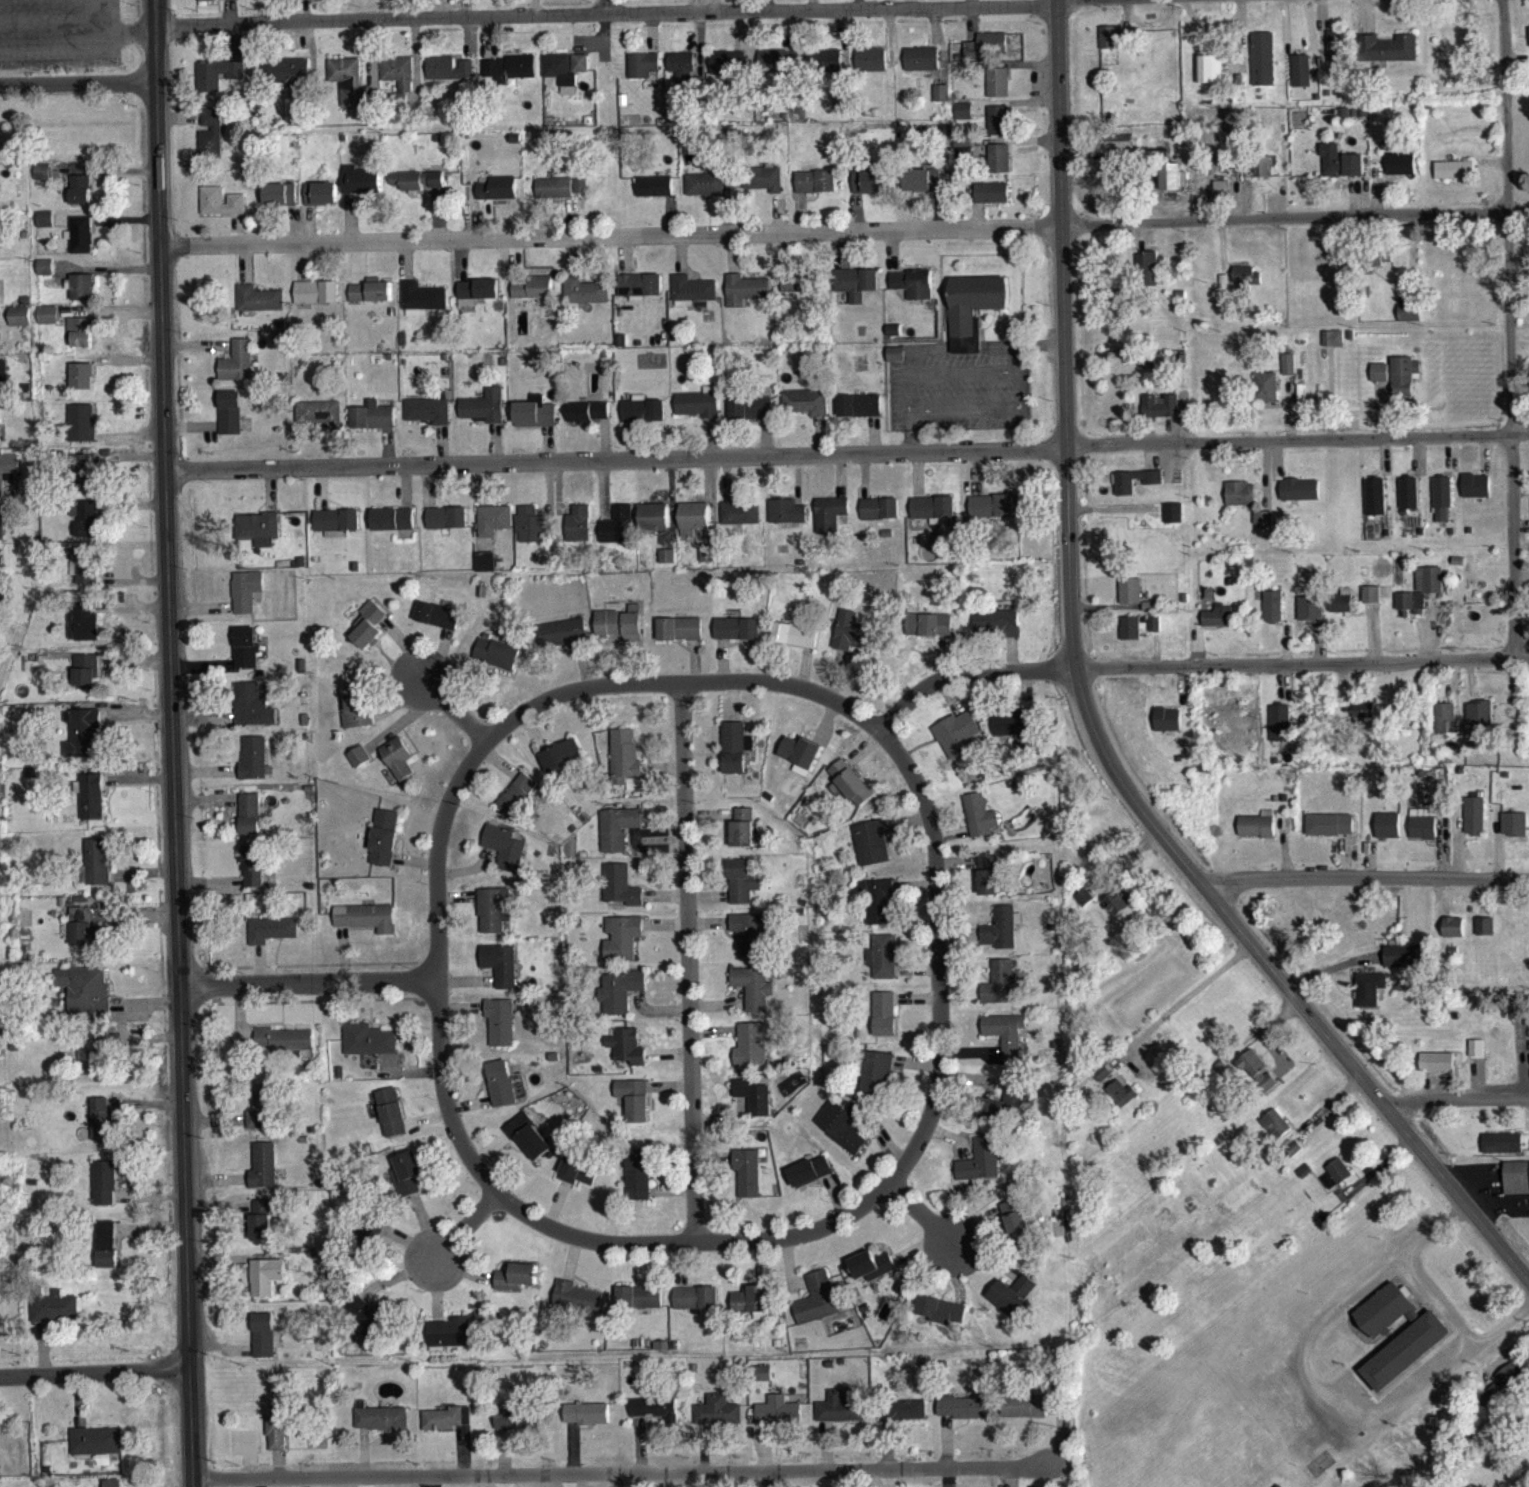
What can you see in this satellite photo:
building: (217, 4)
road: (604, 6)
road: (605, 11)
road: (76, 33)
building: (1111, 46)
building: (987, 55)
building: (1335, 55)
building: (1387, 57)
building: (921, 68)
building: (1263, 68)
building: (825, 69)
building: (871, 69)
building: (779, 70)
building: (727, 71)
building: (643, 74)
building: (682, 75)
building: (565, 76)
building: (448, 77)
building: (508, 77)
building: (1209, 78)
building: (288, 79)
building: (1301, 80)
building: (398, 81)
road: (77, 82)
building: (216, 84)
building: (349, 91)
building: (997, 91)
building: (940, 102)
building: (302, 120)
building: (964, 120)
building: (999, 129)
building: (211, 144)
building: (1118, 151)
building: (964, 158)
building: (999, 167)
building: (1341, 170)
building: (1400, 173)
building: (1263, 176)
building: (1454, 178)
building: (42, 181)
building: (1175, 186)
building: (765, 188)
building: (417, 189)
building: (870, 189)
building: (924, 189)
building: (360, 190)
building: (816, 191)
building: (705, 193)
building: (580, 195)
building: (654, 195)
building: (554, 196)
building: (498, 197)
building: (80, 198)
building: (992, 202)
building: (321, 203)
building: (280, 204)
building: (1218, 206)
building: (221, 211)
building: (45, 228)
road: (844, 233)
building: (80, 244)
building: (1378, 267)
building: (45, 276)
building: (1147, 277)
building: (1246, 287)
building: (857, 292)
building: (913, 293)
building: (640, 295)
building: (82, 296)
building: (533, 296)
building: (478, 298)
building: (693, 298)
building: (746, 299)
building: (371, 300)
building: (585, 300)
building: (317, 301)
building: (259, 308)
building: (422, 308)
building: (974, 317)
building: (1410, 321)
building: (48, 324)
building: (19, 325)
road: (1509, 328)
building: (894, 339)
building: (83, 340)
building: (1333, 347)
building: (0, 352)
building: (896, 363)
building: (238, 370)
building: (1289, 373)
building: (2, 380)
building: (1380, 381)
building: (82, 385)
building: (1404, 385)
building: (1267, 396)
building: (807, 410)
building: (699, 412)
building: (1165, 414)
building: (485, 415)
building: (860, 415)
building: (752, 417)
building: (429, 419)
building: (643, 419)
building: (588, 421)
building: (230, 422)
building: (320, 422)
building: (535, 422)
building: (373, 425)
building: (81, 432)
road: (847, 451)
building: (8, 476)
building: (85, 478)
building: (1153, 490)
building: (1476, 495)
building: (1300, 499)
building: (1409, 502)
building: (1238, 503)
building: (1375, 506)
building: (1442, 507)
building: (991, 515)
building: (932, 516)
building: (880, 517)
building: (786, 520)
building: (740, 521)
building: (1173, 522)
building: (830, 524)
building: (654, 526)
building: (85, 527)
building: (447, 527)
building: (694, 527)
building: (392, 528)
building: (1263, 528)
building: (494, 529)
building: (336, 530)
building: (1, 531)
building: (579, 533)
building: (530, 534)
building: (258, 535)
building: (617, 535)
building: (707, 564)
building: (667, 565)
building: (0, 569)
building: (485, 571)
building: (85, 575)
building: (1421, 598)
building: (246, 600)
building: (1130, 600)
building: (1370, 603)
building: (1341, 611)
building: (1273, 616)
building: (1309, 617)
building: (437, 624)
building: (1218, 625)
building: (83, 631)
building: (620, 632)
building: (997, 632)
building: (1155, 633)
building: (370, 634)
building: (929, 634)
building: (1130, 637)
building: (679, 638)
building: (737, 638)
building: (852, 641)
building: (563, 642)
building: (795, 643)
building: (246, 656)
building: (497, 662)
road: (1192, 664)
building: (86, 680)
road: (170, 681)
road: (680, 682)
road: (453, 708)
building: (252, 715)
road: (1085, 715)
building: (357, 717)
building: (1364, 721)
building: (1480, 722)
building: (1447, 727)
building: (1168, 728)
building: (1280, 732)
building: (1013, 733)
building: (81, 741)
building: (957, 743)
building: (736, 747)
building: (800, 763)
building: (562, 765)
building: (359, 766)
building: (253, 767)
building: (398, 767)
building: (626, 769)
building: (734, 773)
building: (850, 791)
building: (518, 803)
building: (92, 806)
building: (249, 823)
building: (980, 824)
building: (1476, 825)
building: (1331, 833)
building: (1515, 833)
building: (1258, 834)
building: (1389, 834)
building: (1423, 834)
building: (743, 836)
building: (617, 837)
building: (384, 846)
building: (871, 852)
building: (502, 854)
building: (95, 871)
building: (252, 875)
road: (1367, 876)
building: (989, 883)
building: (742, 891)
building: (621, 895)
building: (1084, 906)
building: (1117, 912)
building: (493, 918)
building: (366, 926)
building: (1485, 935)
building: (1454, 936)
building: (1001, 937)
building: (86, 938)
building: (272, 939)
building: (750, 942)
building: (622, 946)
road: (936, 955)
road: (687, 961)
building: (1405, 965)
road: (436, 966)
building: (883, 966)
building: (500, 973)
road: (307, 982)
building: (1001, 991)
building: (753, 996)
building: (85, 998)
building: (1370, 998)
building: (620, 1000)
road: (1180, 1001)
building: (884, 1023)
building: (500, 1031)
building: (1007, 1044)
building: (285, 1049)
building: (368, 1049)
building: (751, 1054)
building: (627, 1056)
building: (1477, 1057)
building: (90, 1070)
building: (1437, 1072)
building: (1258, 1081)
building: (876, 1084)
building: (501, 1093)
road: (1457, 1097)
building: (1122, 1102)
building: (754, 1106)
building: (634, 1108)
building: (1008, 1111)
building: (262, 1117)
building: (392, 1121)
building: (103, 1129)
building: (1276, 1133)
building: (841, 1135)
building: (529, 1146)
building: (1503, 1152)
building: (981, 1170)
building: (264, 1175)
building: (579, 1180)
building: (810, 1180)
building: (747, 1181)
building: (407, 1183)
building: (1336, 1183)
building: (637, 1184)
building: (1516, 1187)
building: (105, 1192)
road: (921, 1213)
road: (465, 1224)
building: (262, 1225)
building: (1019, 1233)
road: (693, 1239)
building: (370, 1245)
building: (106, 1253)
building: (873, 1274)
building: (266, 1284)
building: (516, 1286)
building: (1013, 1304)
building: (578, 1306)
building: (639, 1306)
building: (696, 1307)
building: (818, 1308)
building: (754, 1311)
building: (55, 1317)
building: (942, 1319)
building: (1386, 1320)
building: (372, 1322)
building: (449, 1342)
building: (263, 1344)
building: (1406, 1360)
road: (94, 1371)
building: (764, 1382)
building: (1510, 1387)
building: (1026, 1414)
building: (656, 1417)
building: (963, 1417)
building: (840, 1418)
building: (779, 1419)
building: (907, 1419)
building: (718, 1420)
building: (587, 1423)
road: (190, 1425)
building: (516, 1425)
building: (382, 1427)
building: (448, 1427)
building: (277, 1437)
building: (96, 1450)
road: (625, 1471)

